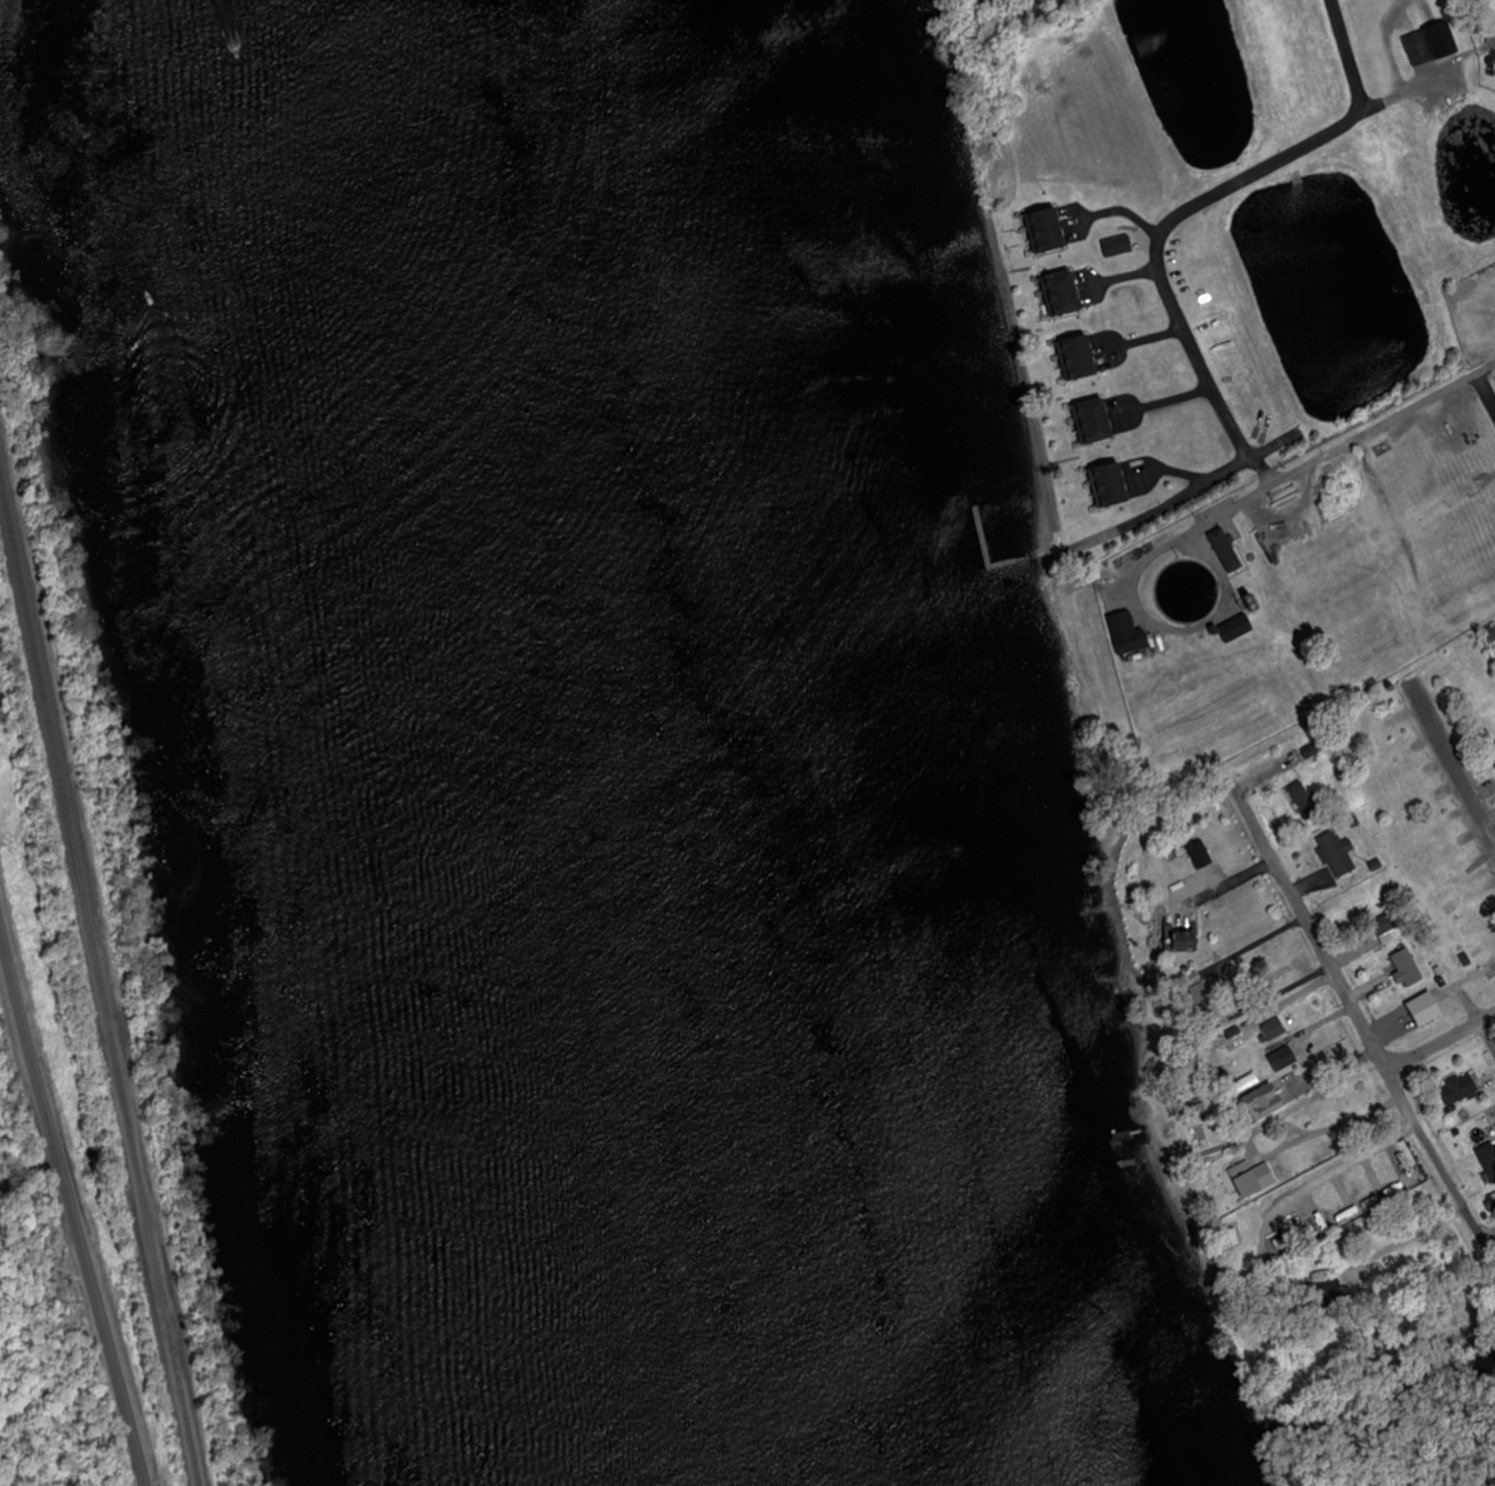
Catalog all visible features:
building: (1432, 44)
road: (1350, 55)
road: (1216, 194)
building: (1051, 231)
building: (1067, 295)
building: (1084, 359)
building: (1100, 423)
road: (1359, 441)
road: (1268, 472)
road: (1214, 483)
building: (1117, 488)
building: (1230, 552)
pier: (998, 573)
building: (1241, 631)
building: (1134, 639)
building: (1444, 674)
building: (1472, 689)
building: (1480, 711)
building: (1374, 721)
river: (545, 744)
road: (1453, 758)
building: (1484, 762)
building: (1411, 784)
building: (1307, 797)
building: (1416, 810)
building: (1207, 847)
building: (1339, 851)
building: (1456, 874)
building: (1466, 899)
building: (1479, 923)
building: (1192, 931)
building: (1409, 967)
building: (1491, 972)
railway: (97, 980)
road: (1357, 999)
building: (1424, 1009)
building: (1280, 1024)
road: (1489, 1028)
building: (1234, 1036)
road: (1445, 1041)
building: (1290, 1053)
building: (1246, 1081)
building: (1461, 1088)
building: (1268, 1098)
building: (1489, 1157)
road: (1349, 1161)
building: (1259, 1173)
building: (1493, 1201)
road: (71, 1206)
road: (1413, 1238)

